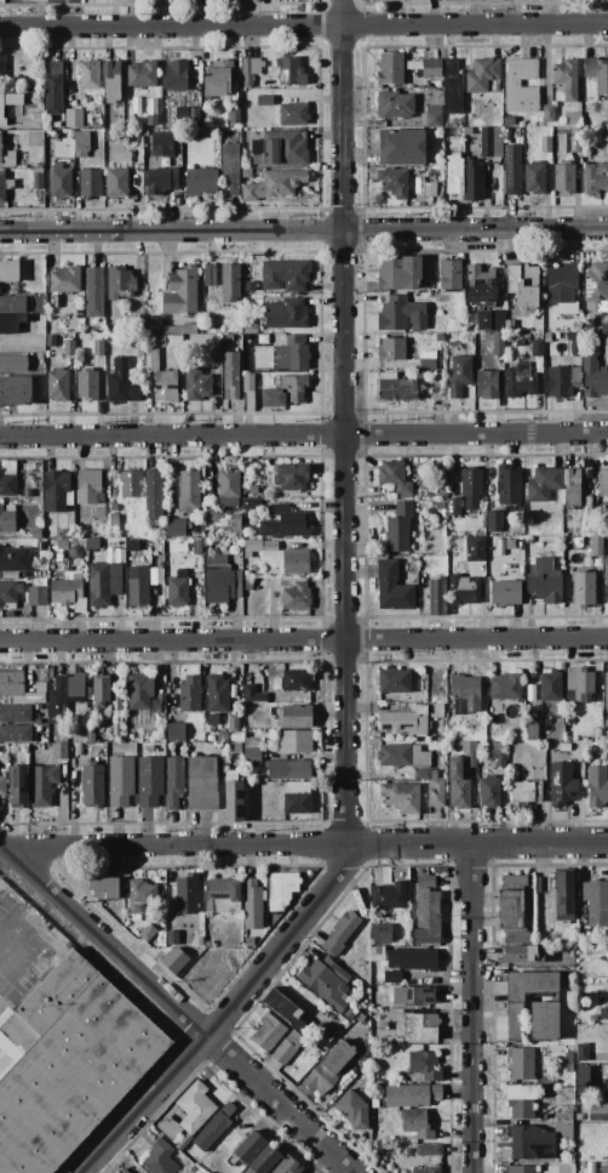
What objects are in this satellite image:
road: (303, 25)
building: (1, 66)
building: (249, 69)
building: (390, 69)
building: (426, 69)
building: (285, 72)
building: (482, 74)
building: (597, 74)
building: (88, 75)
building: (142, 75)
building: (176, 75)
building: (217, 79)
building: (566, 79)
building: (111, 81)
building: (29, 85)
building: (512, 86)
building: (452, 87)
building: (53, 89)
building: (194, 95)
building: (440, 98)
building: (264, 99)
building: (8, 104)
building: (394, 106)
building: (182, 108)
building: (293, 114)
building: (547, 114)
building: (233, 115)
building: (434, 116)
building: (73, 118)
building: (572, 118)
building: (151, 120)
building: (507, 121)
building: (56, 124)
building: (468, 131)
building: (144, 132)
building: (607, 133)
building: (57, 135)
building: (489, 142)
building: (80, 143)
building: (161, 144)
building: (545, 144)
building: (276, 147)
building: (401, 147)
building: (0, 154)
building: (36, 163)
building: (243, 163)
building: (230, 167)
building: (511, 171)
building: (246, 173)
building: (434, 173)
building: (454, 175)
building: (534, 178)
building: (595, 178)
building: (563, 180)
building: (36, 181)
building: (161, 181)
building: (199, 181)
building: (472, 181)
building: (59, 182)
building: (392, 182)
building: (90, 183)
building: (115, 183)
building: (273, 184)
building: (2, 186)
building: (418, 186)
building: (430, 189)
road: (304, 230)
building: (8, 272)
building: (398, 273)
building: (449, 274)
building: (285, 275)
building: (64, 280)
building: (210, 281)
building: (120, 283)
building: (229, 283)
building: (480, 284)
building: (595, 284)
building: (522, 285)
building: (249, 286)
building: (562, 287)
building: (93, 292)
building: (180, 292)
building: (12, 304)
building: (39, 311)
building: (286, 314)
building: (401, 314)
building: (489, 320)
building: (10, 323)
building: (575, 326)
building: (604, 326)
building: (179, 329)
building: (248, 329)
building: (226, 337)
building: (438, 338)
building: (547, 338)
building: (517, 342)
building: (573, 343)
building: (497, 345)
building: (453, 346)
building: (606, 347)
building: (68, 348)
building: (98, 348)
building: (213, 348)
building: (537, 348)
building: (150, 349)
building: (391, 349)
building: (292, 353)
building: (425, 363)
building: (13, 364)
building: (459, 375)
building: (230, 376)
building: (593, 377)
building: (520, 381)
building: (561, 381)
building: (121, 383)
building: (57, 385)
building: (87, 385)
building: (196, 385)
building: (486, 385)
building: (165, 386)
building: (395, 388)
building: (15, 391)
building: (283, 391)
building: (247, 393)
building: (224, 405)
road: (343, 421)
road: (303, 435)
building: (291, 477)
building: (394, 478)
building: (7, 479)
building: (23, 479)
building: (437, 482)
building: (602, 482)
building: (36, 484)
building: (130, 484)
building: (543, 484)
building: (507, 485)
building: (88, 488)
building: (228, 488)
building: (471, 488)
building: (570, 489)
building: (252, 490)
building: (57, 491)
building: (189, 491)
building: (441, 495)
building: (207, 496)
building: (154, 499)
building: (249, 505)
building: (440, 507)
building: (452, 507)
building: (7, 518)
building: (114, 520)
building: (494, 522)
building: (285, 523)
building: (235, 524)
building: (589, 525)
building: (174, 528)
building: (398, 528)
building: (191, 530)
building: (35, 534)
building: (529, 540)
building: (80, 541)
building: (62, 543)
building: (92, 543)
building: (136, 545)
building: (509, 545)
building: (40, 546)
building: (417, 546)
building: (596, 546)
building: (258, 547)
building: (197, 548)
building: (474, 550)
building: (13, 560)
building: (296, 563)
building: (412, 568)
building: (156, 574)
building: (220, 580)
building: (607, 580)
building: (543, 581)
building: (103, 583)
building: (247, 583)
building: (137, 586)
building: (392, 588)
building: (177, 590)
building: (463, 590)
building: (583, 590)
building: (68, 592)
building: (505, 593)
building: (8, 594)
building: (36, 597)
building: (436, 597)
building: (273, 598)
building: (296, 598)
building: (10, 614)
road: (303, 640)
building: (297, 681)
building: (394, 681)
building: (12, 683)
building: (505, 687)
building: (551, 687)
building: (75, 688)
building: (578, 688)
building: (466, 690)
building: (98, 691)
building: (138, 691)
building: (189, 694)
building: (217, 694)
building: (256, 695)
building: (606, 699)
building: (57, 701)
building: (436, 711)
building: (15, 714)
building: (293, 717)
building: (403, 719)
building: (233, 724)
building: (269, 724)
building: (176, 731)
building: (15, 734)
building: (597, 734)
building: (251, 742)
building: (294, 742)
building: (499, 747)
building: (534, 747)
building: (564, 747)
building: (235, 748)
building: (149, 750)
building: (59, 751)
building: (607, 751)
building: (402, 756)
building: (251, 757)
building: (470, 759)
building: (497, 759)
building: (288, 770)
building: (437, 773)
building: (421, 775)
building: (120, 781)
building: (150, 781)
building: (173, 782)
building: (201, 782)
building: (562, 784)
building: (2, 786)
building: (17, 786)
building: (41, 786)
building: (92, 786)
building: (458, 786)
building: (596, 786)
building: (488, 792)
building: (436, 793)
building: (524, 793)
building: (401, 797)
building: (233, 802)
building: (294, 803)
road: (310, 844)
building: (440, 871)
building: (425, 882)
building: (104, 887)
building: (280, 889)
building: (185, 895)
building: (563, 895)
building: (140, 896)
building: (223, 896)
building: (389, 896)
building: (595, 904)
building: (252, 905)
building: (512, 910)
building: (426, 918)
building: (344, 929)
building: (147, 933)
building: (382, 934)
building: (172, 938)
building: (208, 944)
building: (522, 955)
building: (411, 960)
building: (173, 961)
building: (391, 978)
building: (326, 983)
building: (414, 996)
road: (177, 1008)
building: (283, 1008)
road: (475, 1008)
road: (225, 1013)
building: (603, 1013)
building: (349, 1014)
building: (515, 1019)
building: (544, 1020)
building: (415, 1027)
building: (266, 1034)
building: (326, 1035)
building: (286, 1048)
building: (581, 1052)
building: (67, 1064)
building: (521, 1064)
building: (423, 1065)
building: (328, 1069)
building: (607, 1080)
building: (411, 1095)
building: (520, 1100)
building: (373, 1103)
building: (196, 1105)
building: (351, 1110)
building: (598, 1112)
building: (578, 1117)
building: (415, 1124)
building: (168, 1127)
building: (214, 1128)
building: (540, 1137)
building: (246, 1149)
building: (428, 1150)
building: (408, 1154)
building: (160, 1160)
building: (264, 1161)
building: (286, 1166)
building: (426, 1169)
building: (520, 1169)
building: (604, 1169)
building: (124, 1171)

